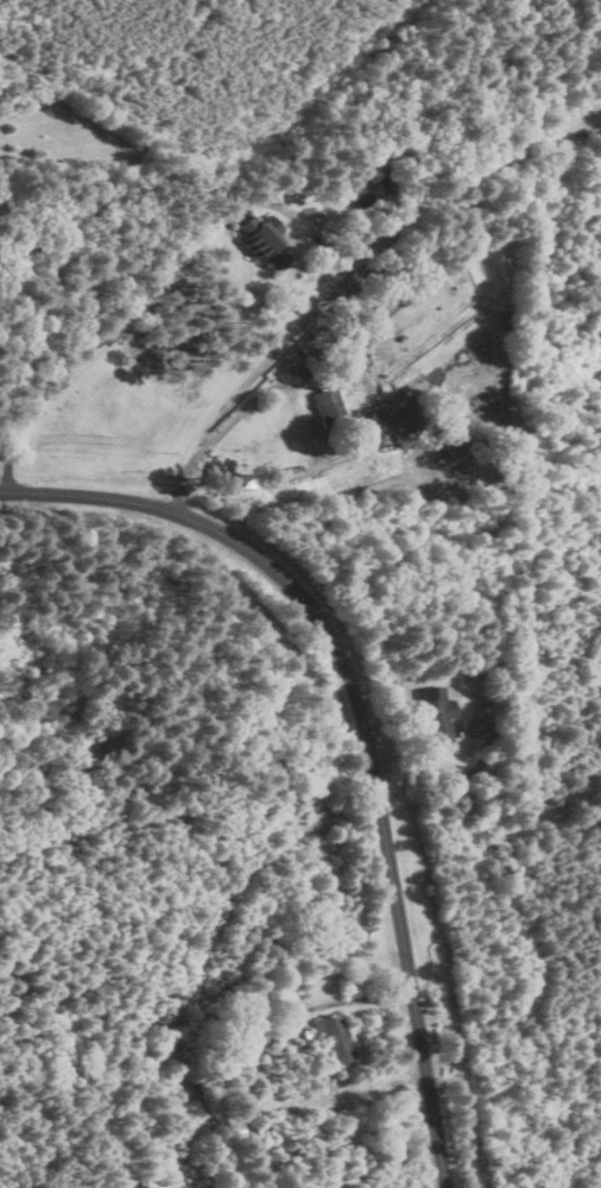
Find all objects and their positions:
road: (265, 201)
road: (373, 396)
building: (334, 407)
building: (428, 714)
road: (358, 724)
building: (327, 1031)

